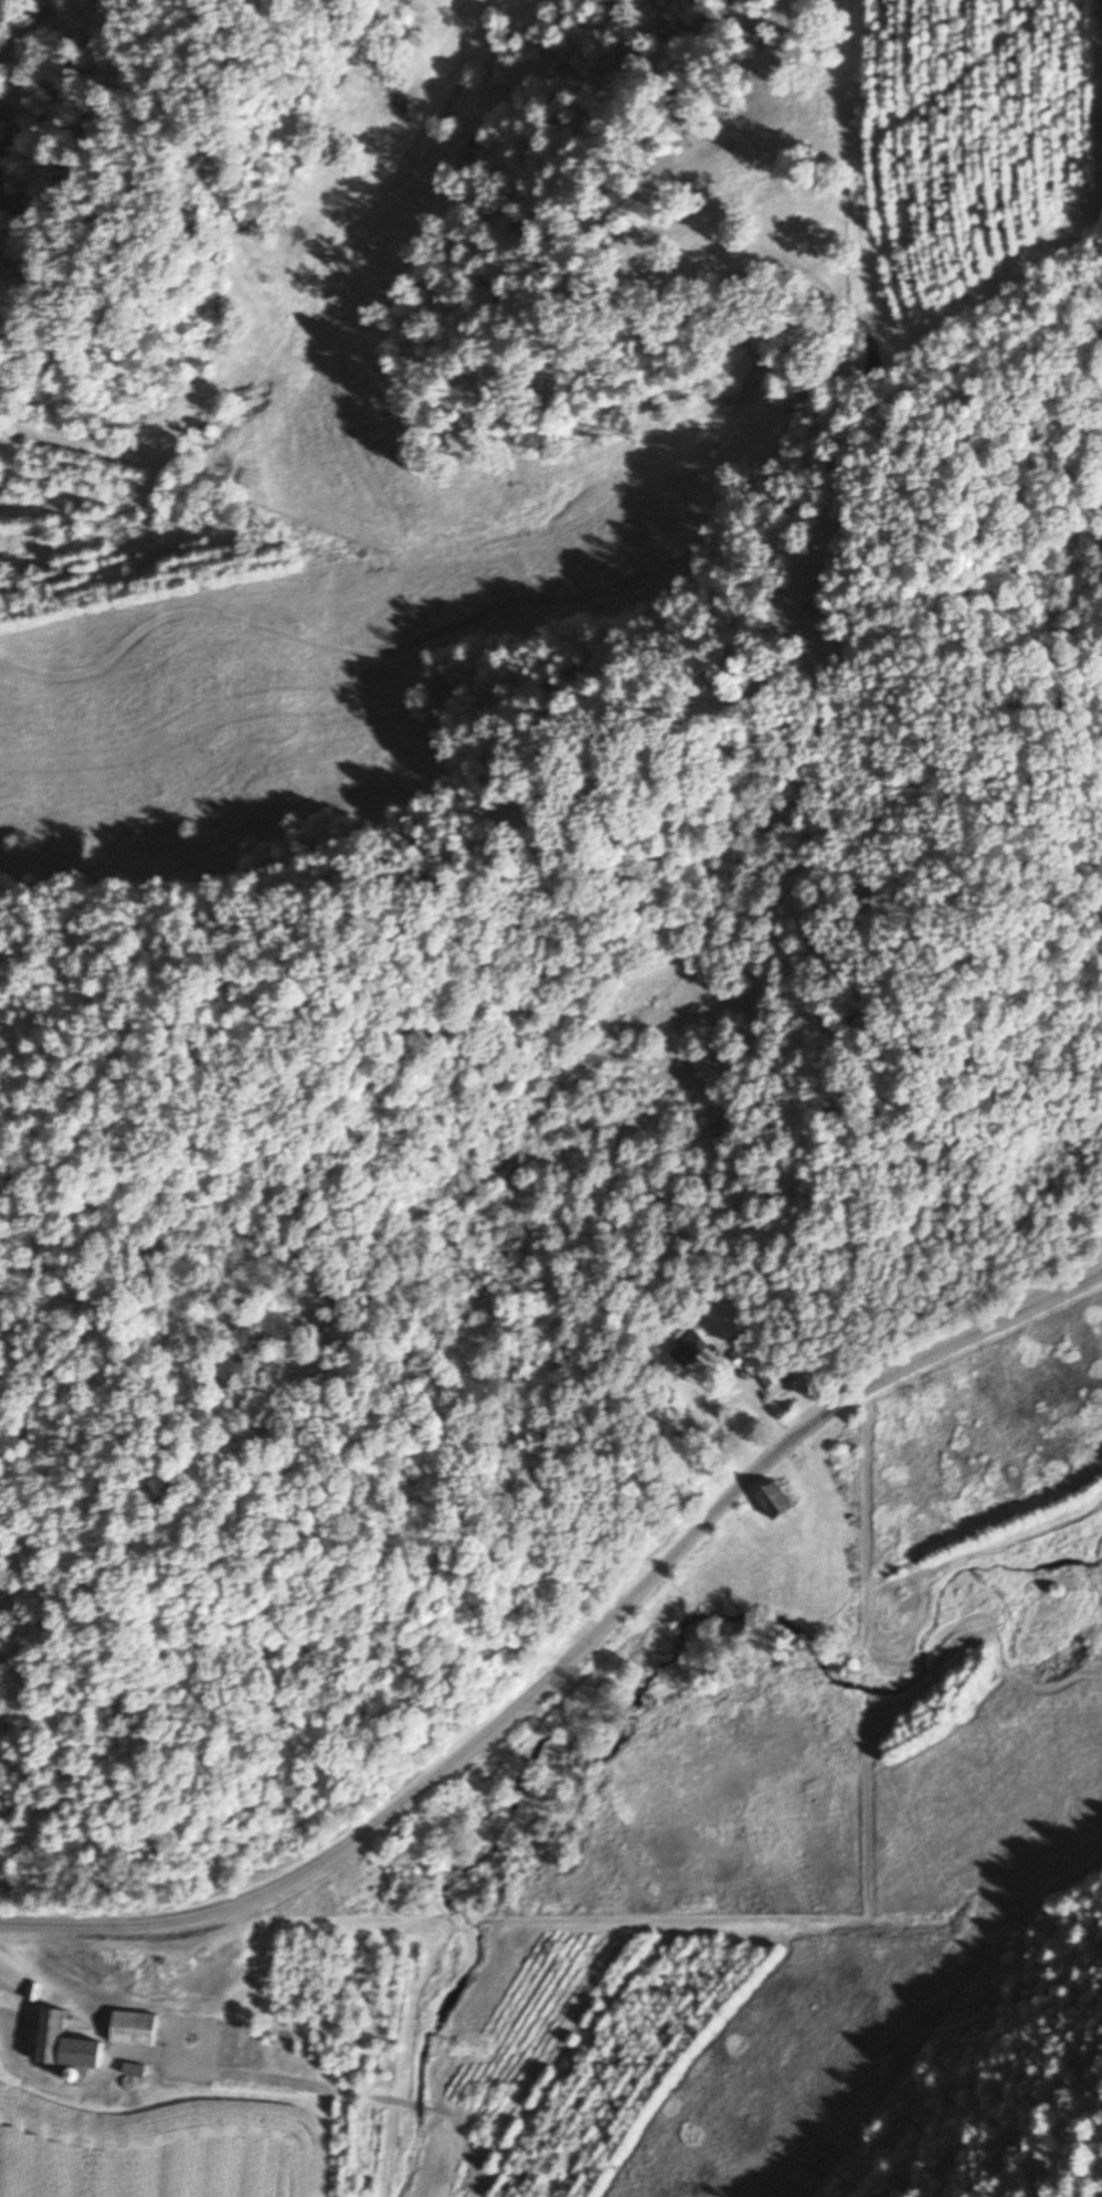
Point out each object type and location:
building: (693, 1349)
building: (773, 1380)
building: (778, 1502)
road: (568, 1643)
building: (135, 2029)
building: (65, 2045)
building: (135, 2071)

